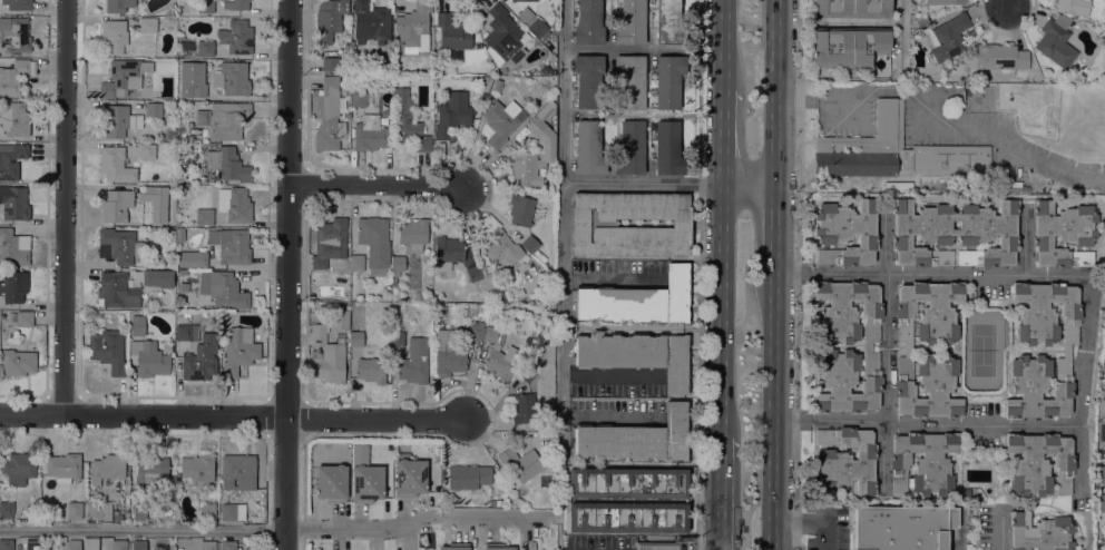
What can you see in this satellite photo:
building: (529, 0)
building: (514, 1)
building: (945, 2)
road: (1009, 3)
building: (18, 4)
building: (235, 4)
building: (116, 6)
building: (205, 6)
building: (1073, 6)
building: (851, 8)
building: (912, 16)
building: (330, 18)
building: (922, 20)
building: (371, 22)
building: (534, 22)
building: (588, 22)
building: (632, 22)
building: (147, 23)
building: (554, 23)
building: (669, 23)
building: (414, 28)
building: (452, 32)
building: (14, 35)
building: (505, 35)
road: (900, 35)
building: (114, 36)
building: (236, 37)
building: (948, 37)
building: (1056, 41)
building: (848, 46)
road: (724, 47)
building: (205, 48)
building: (456, 56)
building: (1001, 57)
building: (155, 61)
building: (330, 63)
building: (1062, 76)
building: (12, 77)
building: (124, 78)
building: (588, 80)
building: (630, 80)
building: (668, 80)
building: (224, 81)
building: (485, 85)
road: (774, 92)
building: (360, 96)
building: (153, 109)
building: (327, 115)
building: (346, 115)
building: (14, 118)
road: (941, 118)
building: (224, 119)
building: (450, 119)
building: (118, 120)
building: (383, 120)
building: (407, 121)
building: (500, 121)
building: (537, 124)
building: (370, 134)
road: (723, 139)
building: (588, 148)
building: (630, 148)
building: (667, 148)
building: (146, 150)
building: (896, 151)
building: (11, 159)
building: (116, 164)
building: (226, 165)
building: (526, 167)
road: (668, 184)
road: (374, 186)
building: (1018, 189)
building: (148, 194)
building: (13, 203)
building: (235, 204)
building: (119, 206)
road: (63, 207)
building: (520, 210)
building: (204, 216)
building: (595, 223)
road: (774, 229)
road: (563, 230)
building: (847, 232)
building: (955, 233)
building: (413, 234)
building: (1063, 234)
building: (213, 236)
building: (330, 242)
road: (1026, 242)
building: (374, 243)
building: (529, 244)
building: (121, 245)
building: (14, 246)
building: (234, 246)
building: (501, 248)
building: (447, 253)
building: (539, 255)
building: (193, 258)
building: (356, 262)
building: (397, 264)
building: (473, 273)
road: (286, 274)
road: (929, 275)
building: (202, 276)
building: (157, 277)
building: (489, 281)
building: (13, 285)
building: (117, 289)
building: (227, 291)
building: (475, 296)
building: (640, 299)
building: (472, 308)
road: (721, 310)
building: (1047, 312)
building: (186, 313)
building: (178, 314)
building: (23, 318)
building: (340, 318)
building: (137, 325)
building: (476, 331)
building: (186, 332)
building: (16, 337)
building: (356, 338)
building: (398, 338)
building: (867, 346)
building: (166, 347)
building: (108, 350)
building: (238, 350)
building: (908, 350)
building: (1066, 350)
road: (884, 352)
building: (329, 354)
building: (636, 354)
building: (447, 355)
building: (499, 355)
building: (148, 357)
building: (201, 359)
building: (17, 362)
building: (414, 362)
building: (370, 369)
building: (1039, 387)
road: (1083, 387)
building: (524, 407)
road: (773, 411)
road: (234, 418)
road: (928, 424)
road: (1104, 433)
building: (637, 438)
building: (845, 460)
building: (520, 462)
building: (922, 462)
building: (1039, 463)
building: (63, 466)
building: (18, 468)
building: (107, 468)
building: (150, 468)
building: (196, 468)
building: (238, 471)
building: (468, 475)
building: (410, 477)
building: (331, 482)
building: (366, 483)
building: (1104, 489)
road: (720, 492)
building: (627, 500)
building: (496, 502)
building: (7, 509)
building: (74, 510)
building: (99, 510)
building: (138, 510)
building: (207, 511)
building: (233, 511)
building: (117, 517)
road: (812, 521)
building: (902, 527)
road: (276, 529)
road: (1001, 529)
building: (1039, 532)
road: (1103, 538)
building: (7, 544)
building: (74, 544)
building: (115, 544)
building: (138, 544)
building: (207, 544)
building: (228, 546)
building: (454, 546)
building: (657, 546)
building: (497, 547)
building: (1102, 549)

